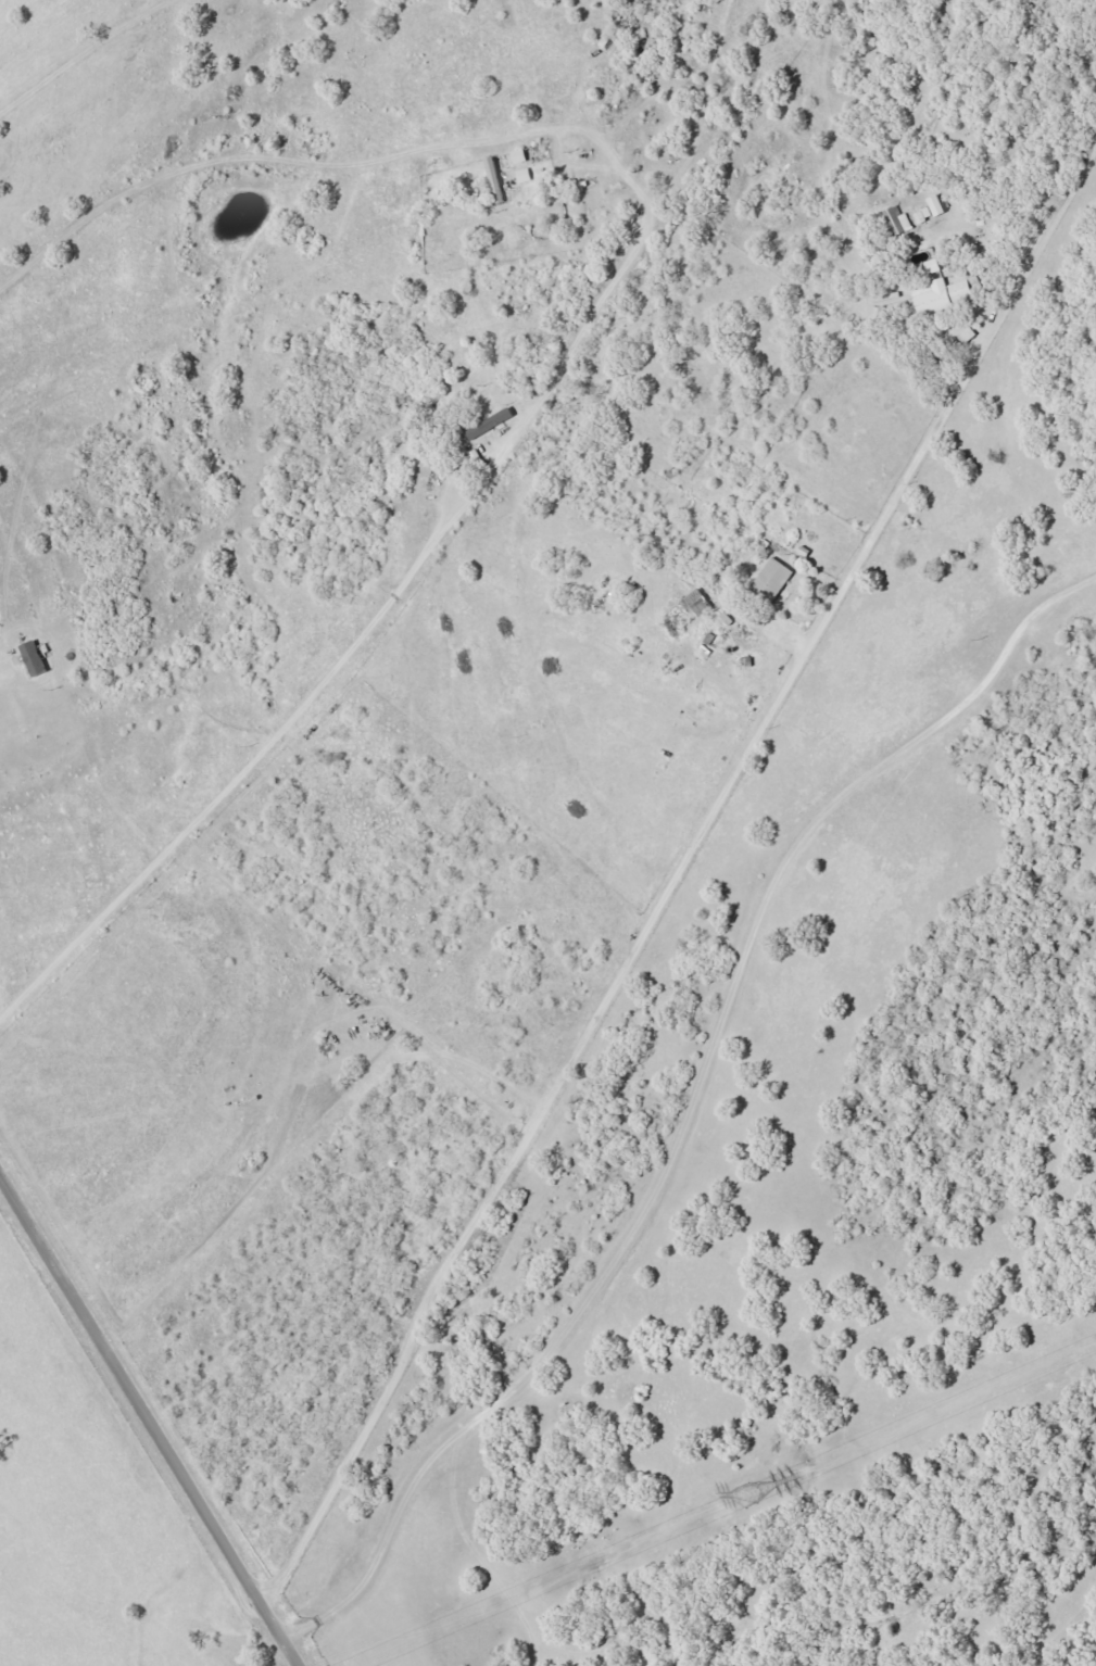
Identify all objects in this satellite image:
building: (517, 156)
building: (521, 176)
building: (933, 204)
building: (921, 216)
building: (896, 220)
building: (931, 266)
building: (959, 290)
building: (930, 298)
building: (488, 424)
building: (770, 580)
building: (696, 602)
building: (32, 658)
road: (697, 812)
road: (686, 1115)
road: (153, 1413)
power tower: (742, 1498)

